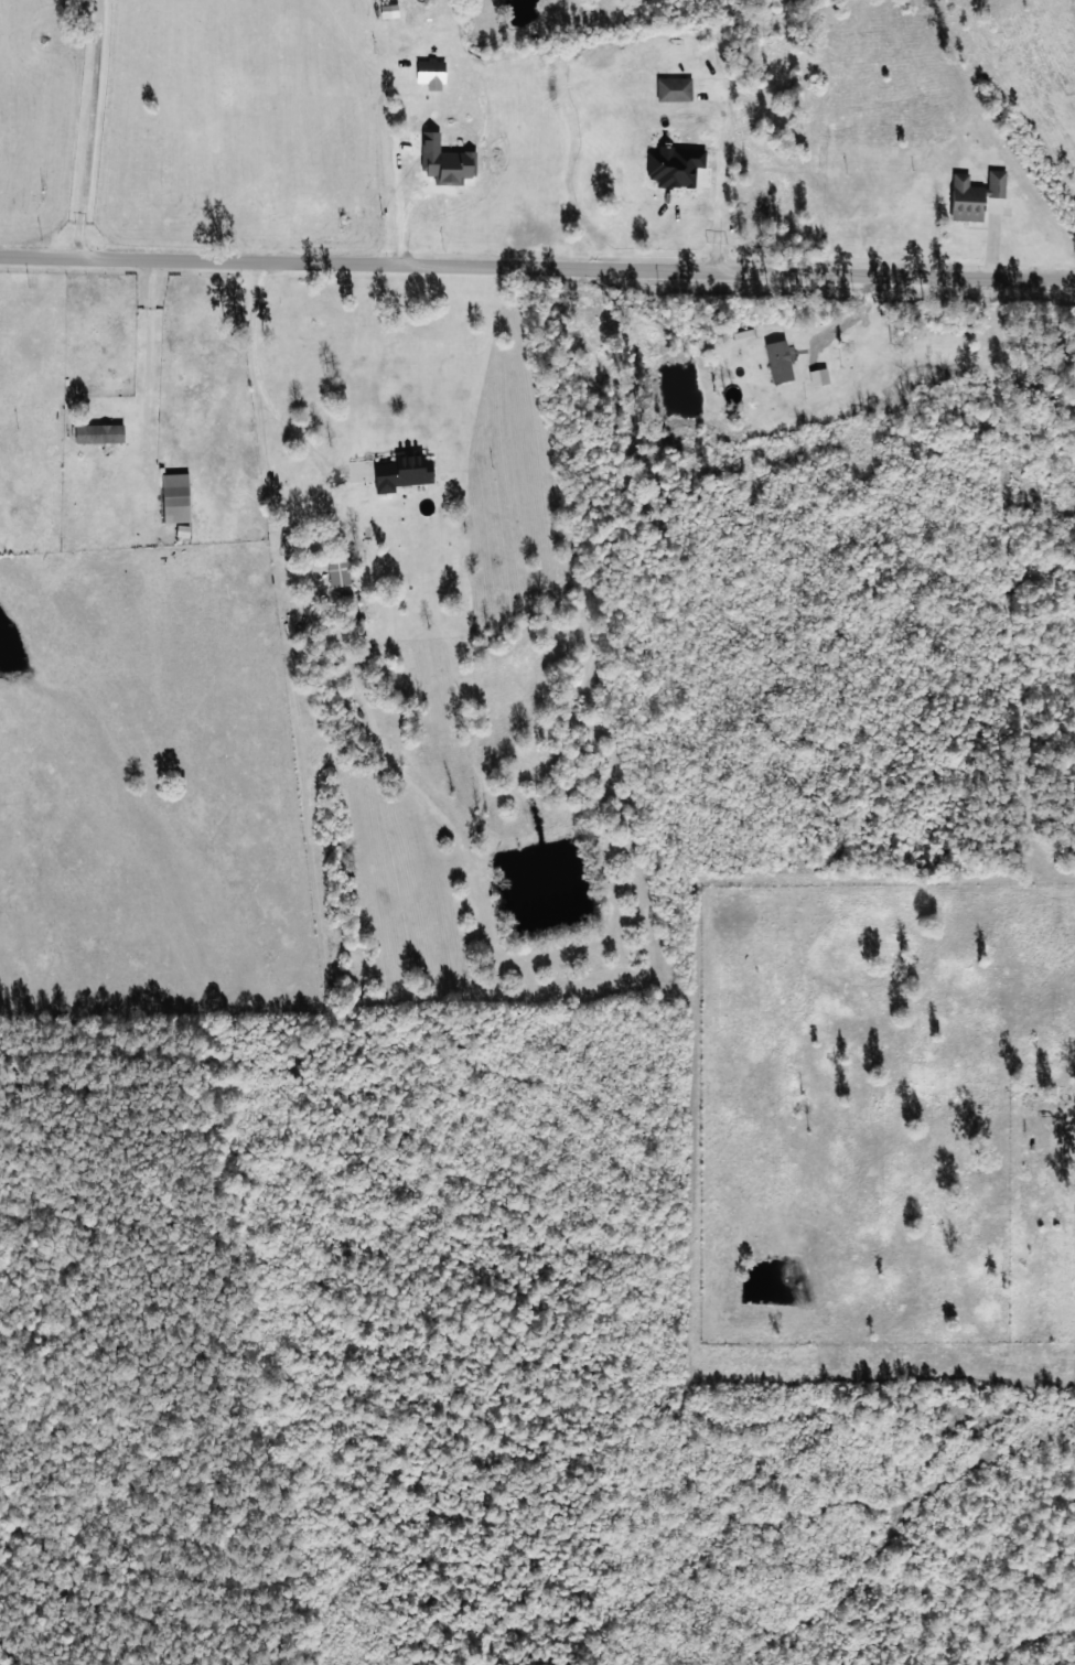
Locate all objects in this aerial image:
building: (388, 10)
building: (430, 73)
building: (674, 88)
building: (997, 182)
building: (966, 198)
road: (537, 266)
building: (778, 361)
building: (818, 376)
building: (98, 433)
building: (400, 472)
building: (175, 497)
building: (337, 568)

